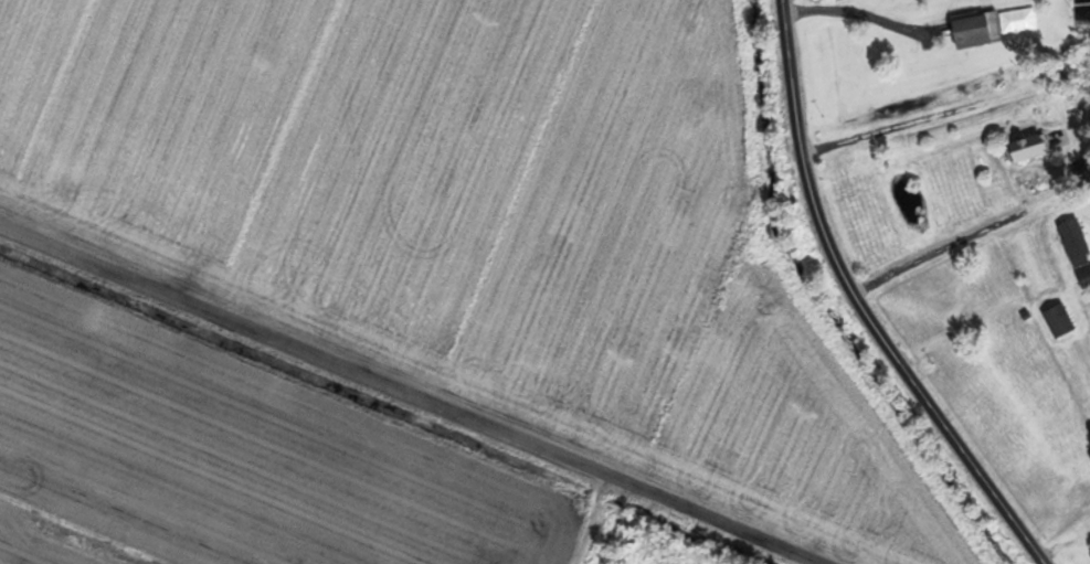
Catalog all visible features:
building: (971, 30)
road: (1068, 130)
building: (1019, 149)
building: (1071, 243)
building: (1082, 277)
crop: (413, 289)
road: (861, 305)
building: (1055, 319)
road: (347, 368)
road: (713, 521)

